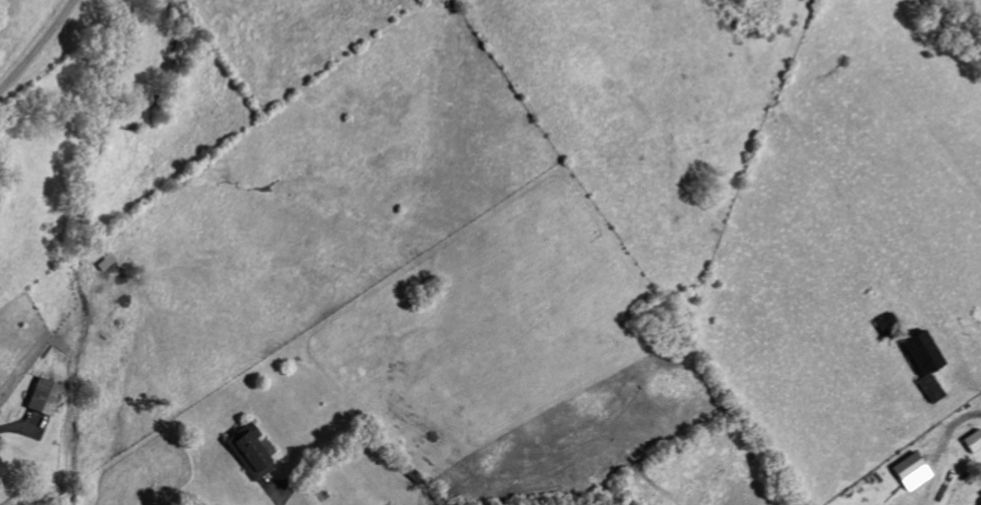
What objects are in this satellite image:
road: (35, 43)
building: (106, 263)
building: (925, 362)
building: (44, 396)
road: (17, 425)
building: (973, 441)
building: (250, 451)
building: (908, 466)
building: (2, 469)
building: (980, 494)
building: (980, 504)

